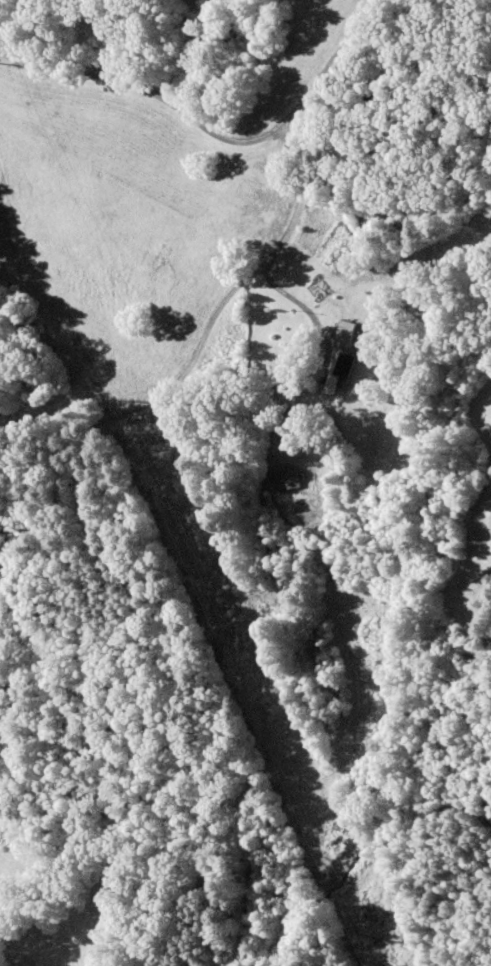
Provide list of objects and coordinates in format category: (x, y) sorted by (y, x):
building: (344, 335)
building: (338, 372)
building: (287, 480)

